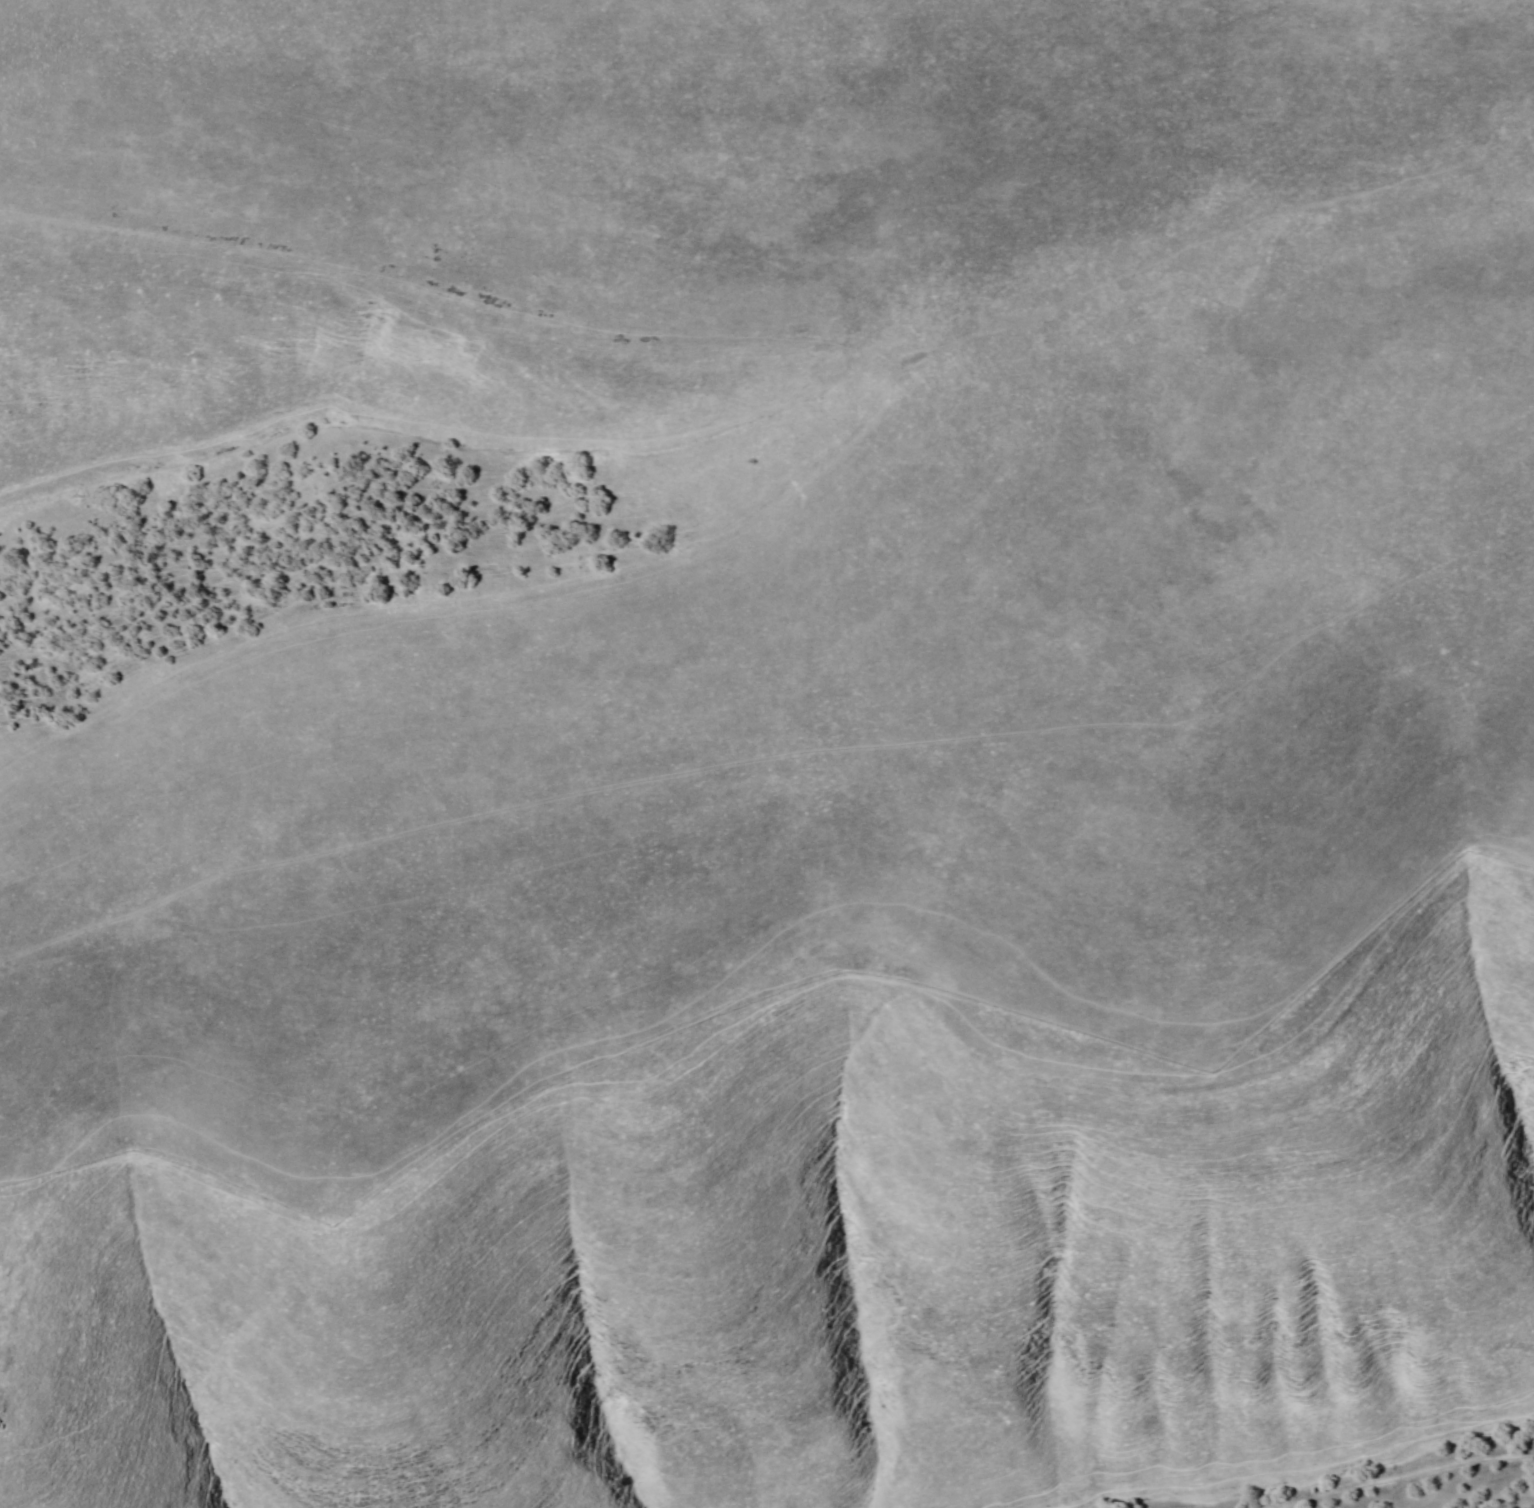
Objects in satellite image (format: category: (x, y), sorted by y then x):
road: (1523, 1503)

